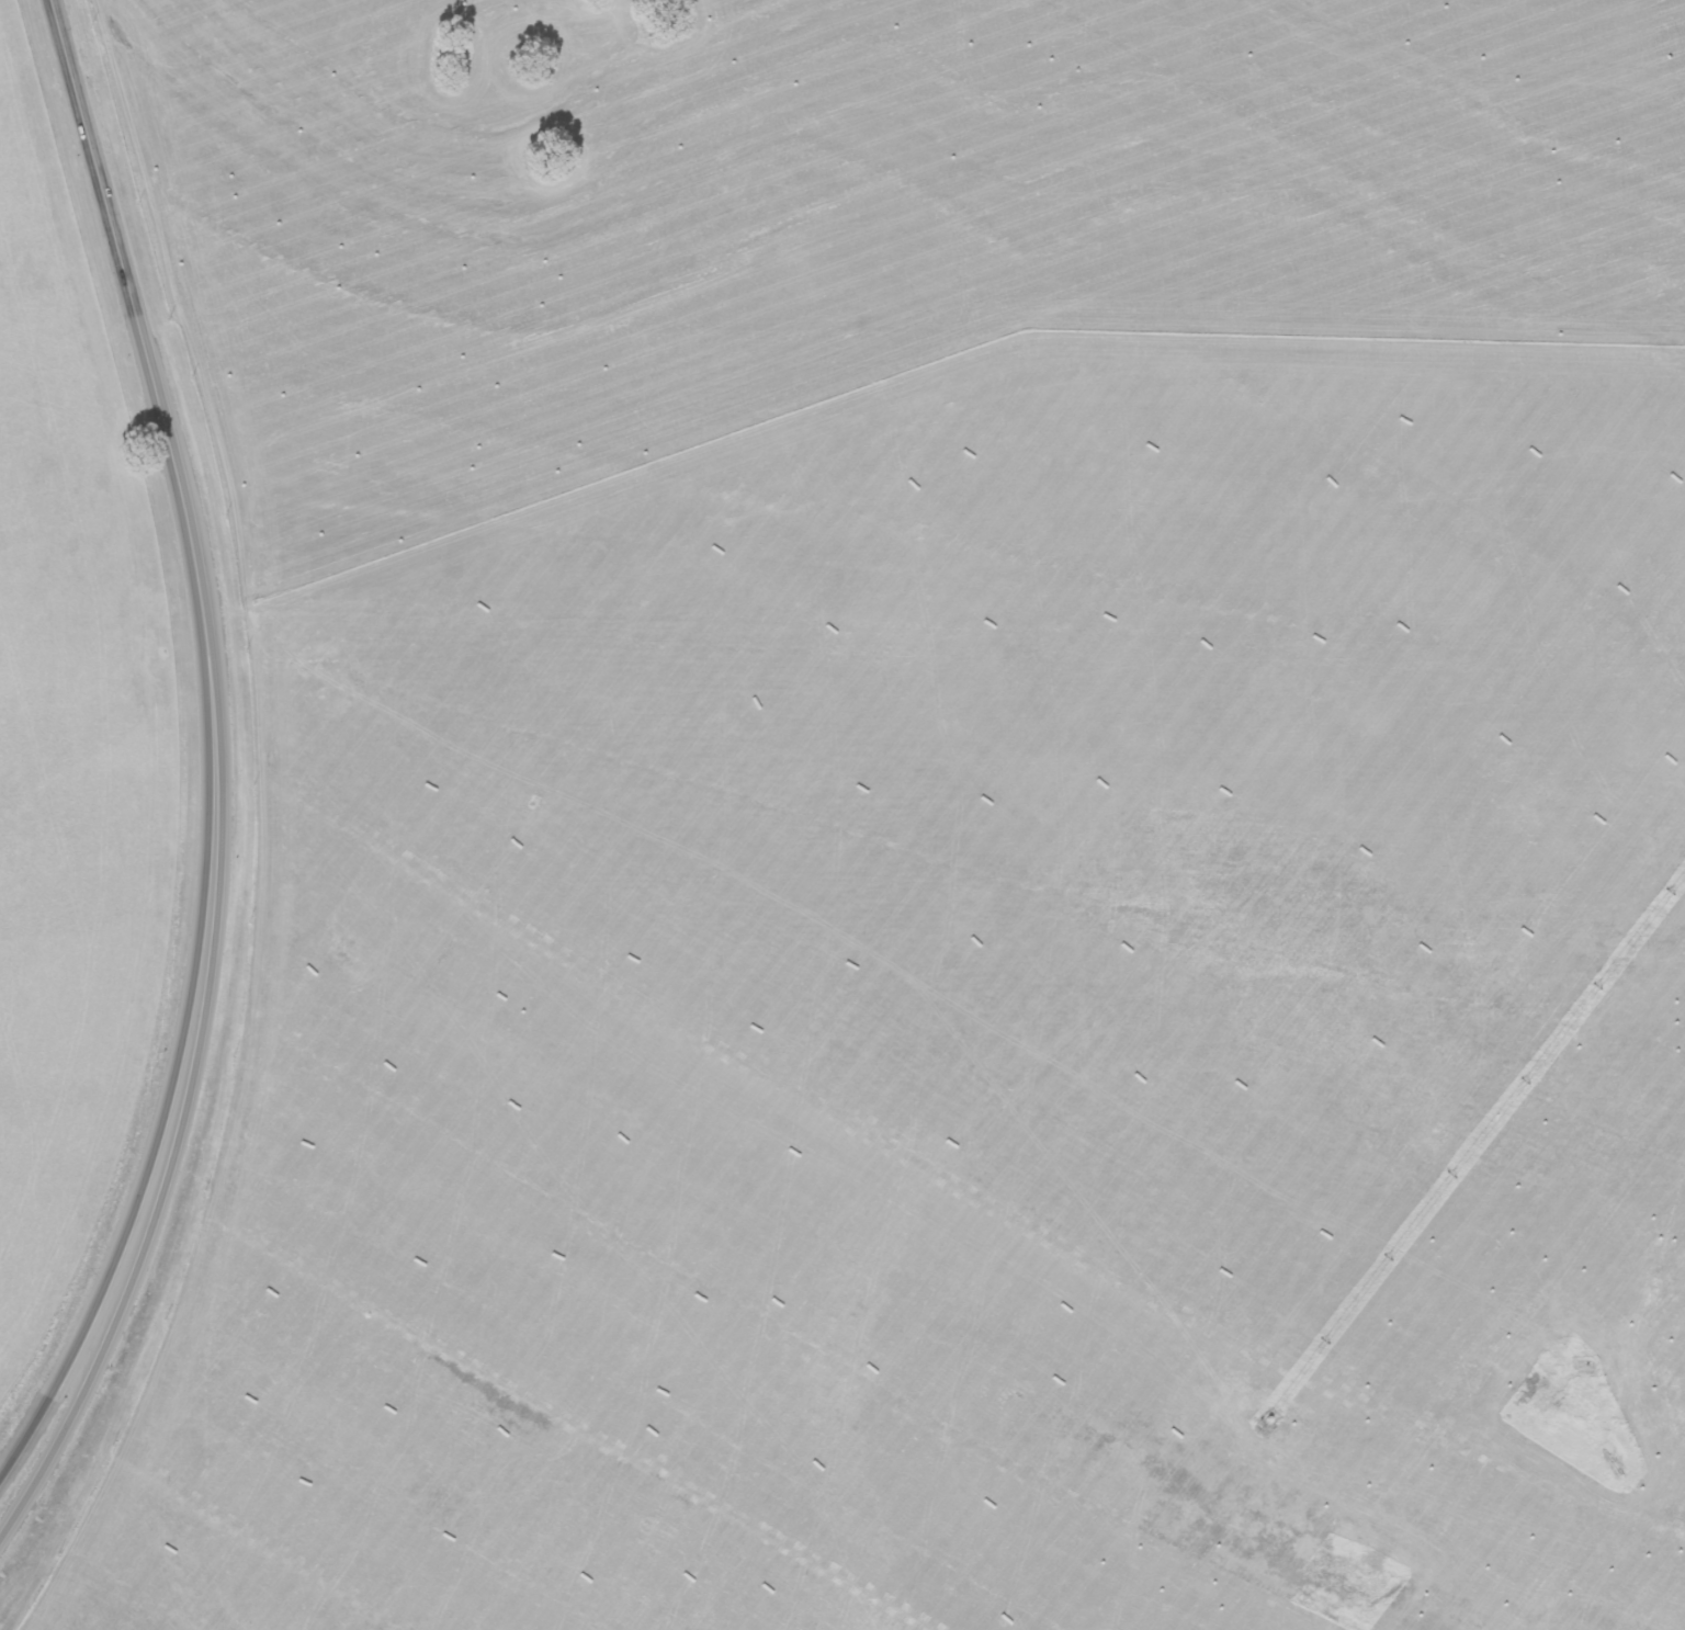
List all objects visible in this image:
road: (200, 608)
road: (70, 1348)
road: (82, 1384)

